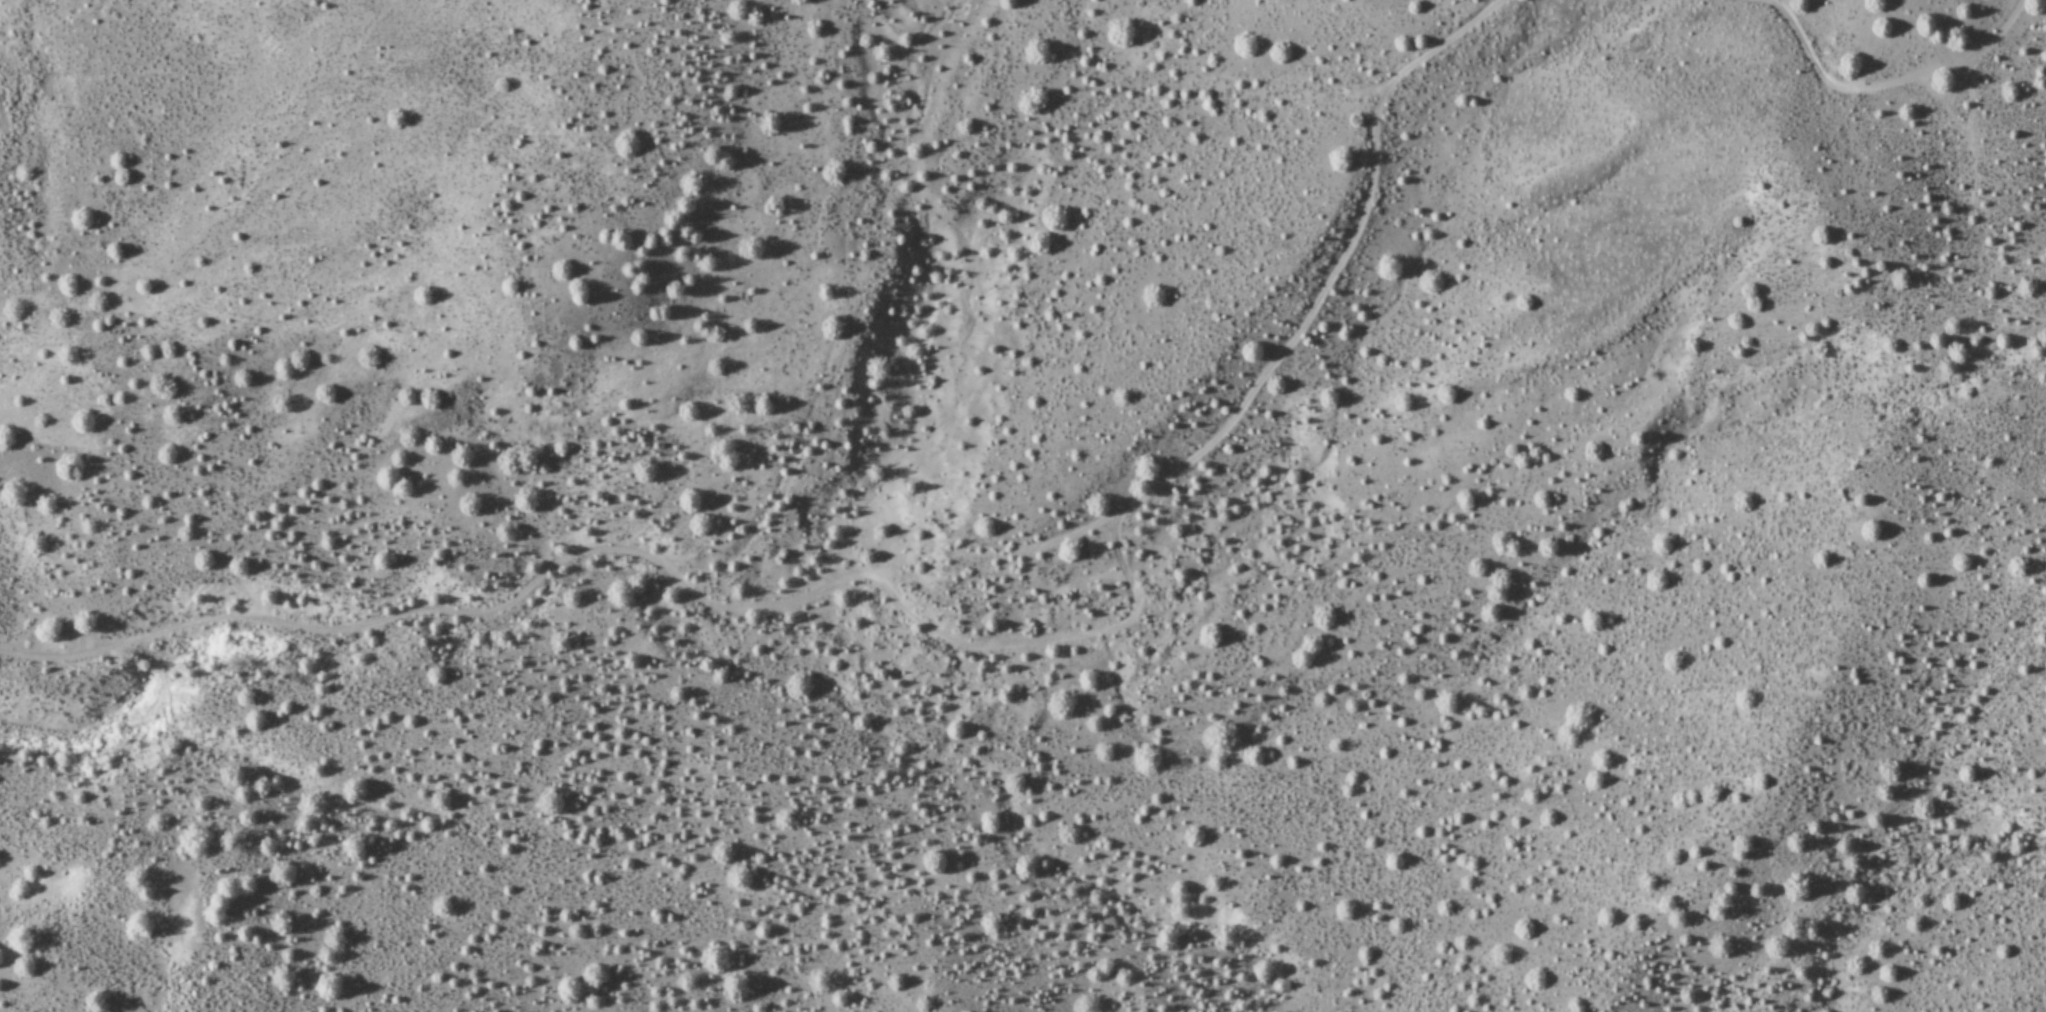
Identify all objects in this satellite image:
road: (1920, 38)
road: (920, 568)

